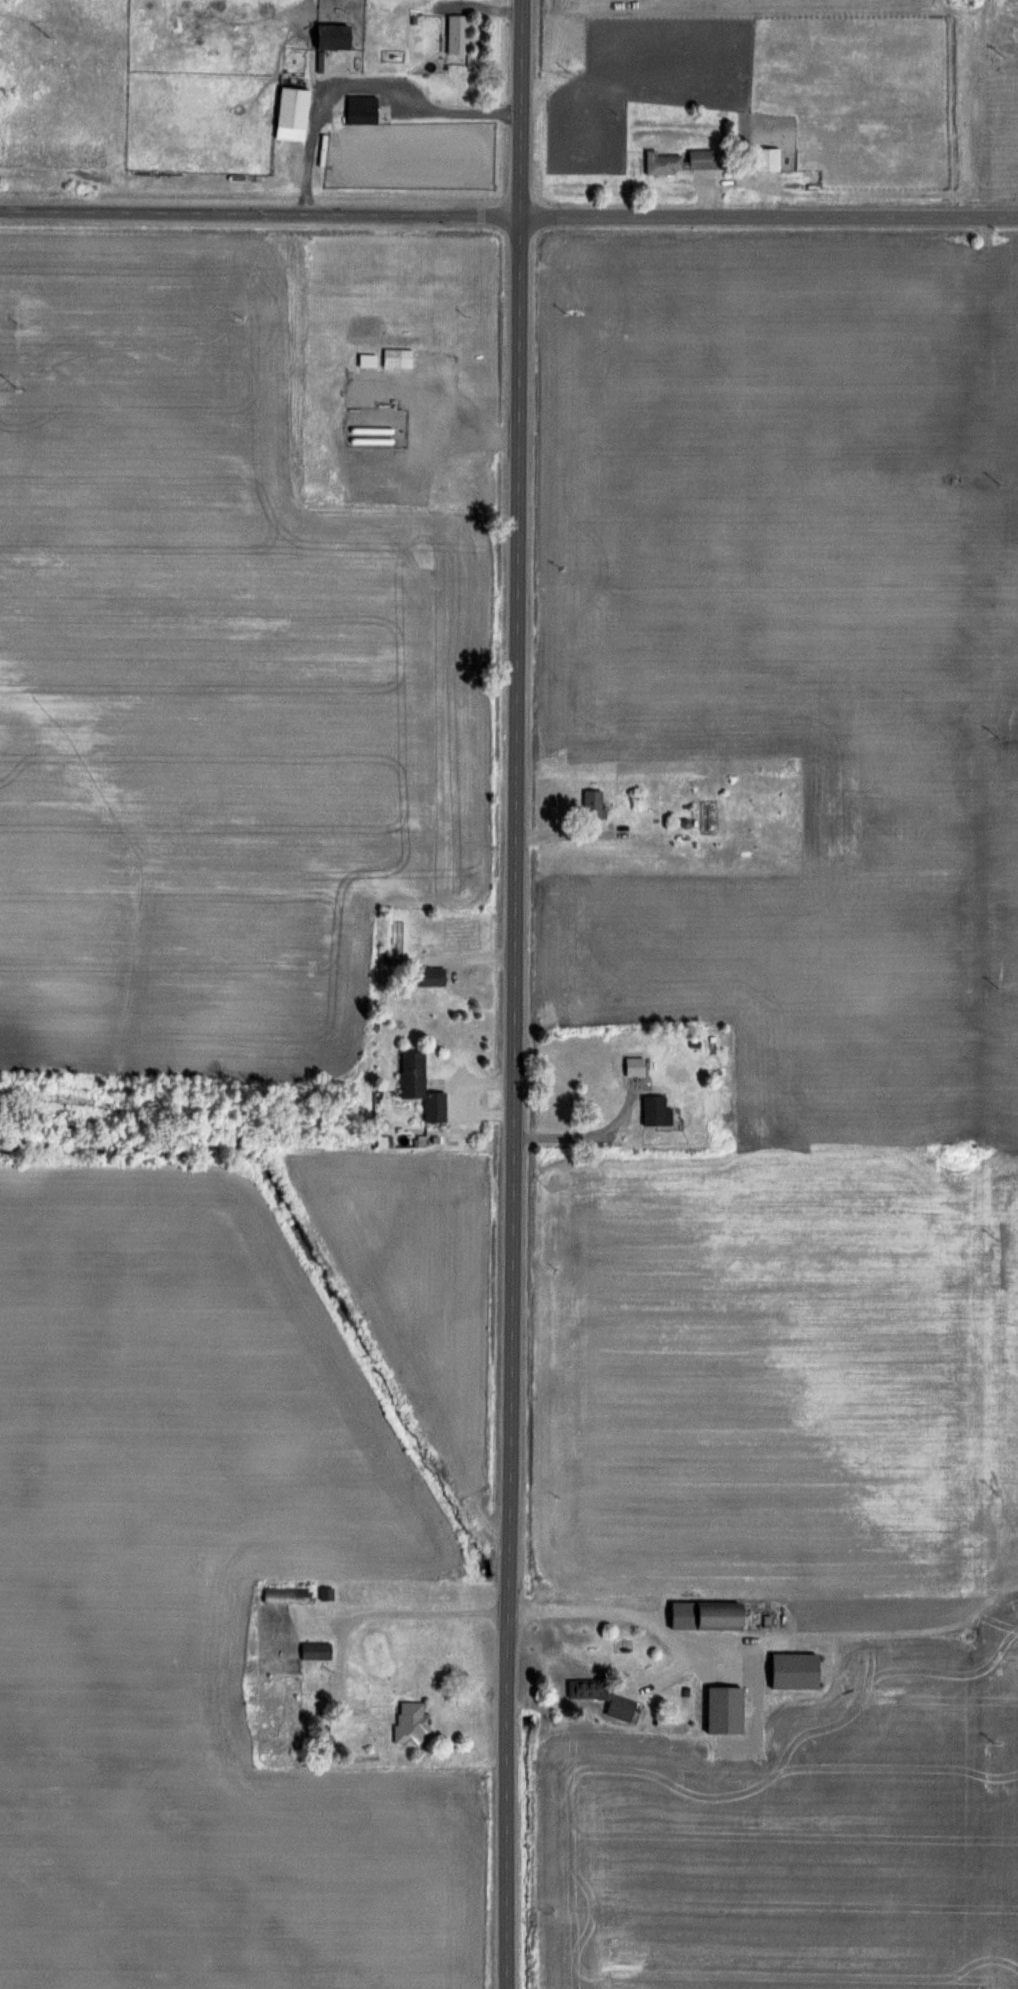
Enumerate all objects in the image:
building: (457, 33)
building: (331, 36)
road: (353, 82)
building: (361, 109)
building: (291, 113)
building: (702, 158)
building: (767, 159)
building: (663, 163)
road: (508, 218)
building: (398, 357)
building: (367, 359)
building: (593, 803)
building: (431, 977)
road: (516, 994)
building: (635, 1066)
building: (412, 1073)
building: (655, 1110)
road: (590, 1132)
building: (326, 1593)
building: (285, 1595)
building: (705, 1614)
building: (315, 1650)
building: (794, 1670)
building: (602, 1696)
building: (411, 1723)

